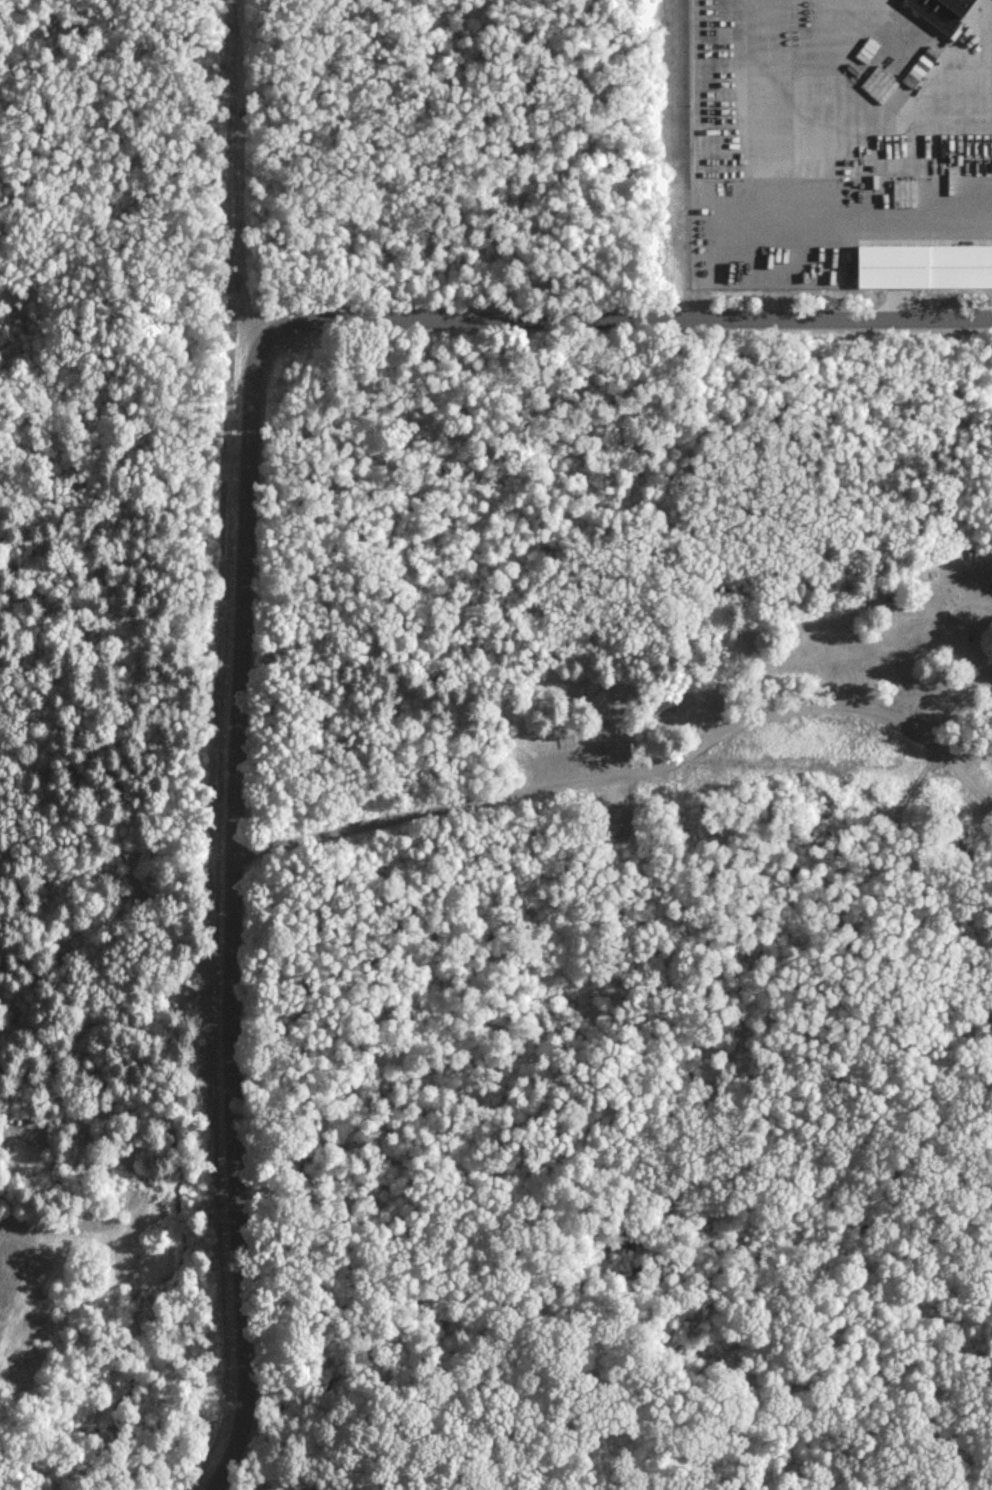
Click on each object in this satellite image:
building: (937, 14)
road: (867, 120)
building: (923, 265)
road: (133, 319)
road: (629, 320)
road: (73, 760)
road: (606, 770)
road: (965, 780)
road: (919, 885)
road: (231, 907)

